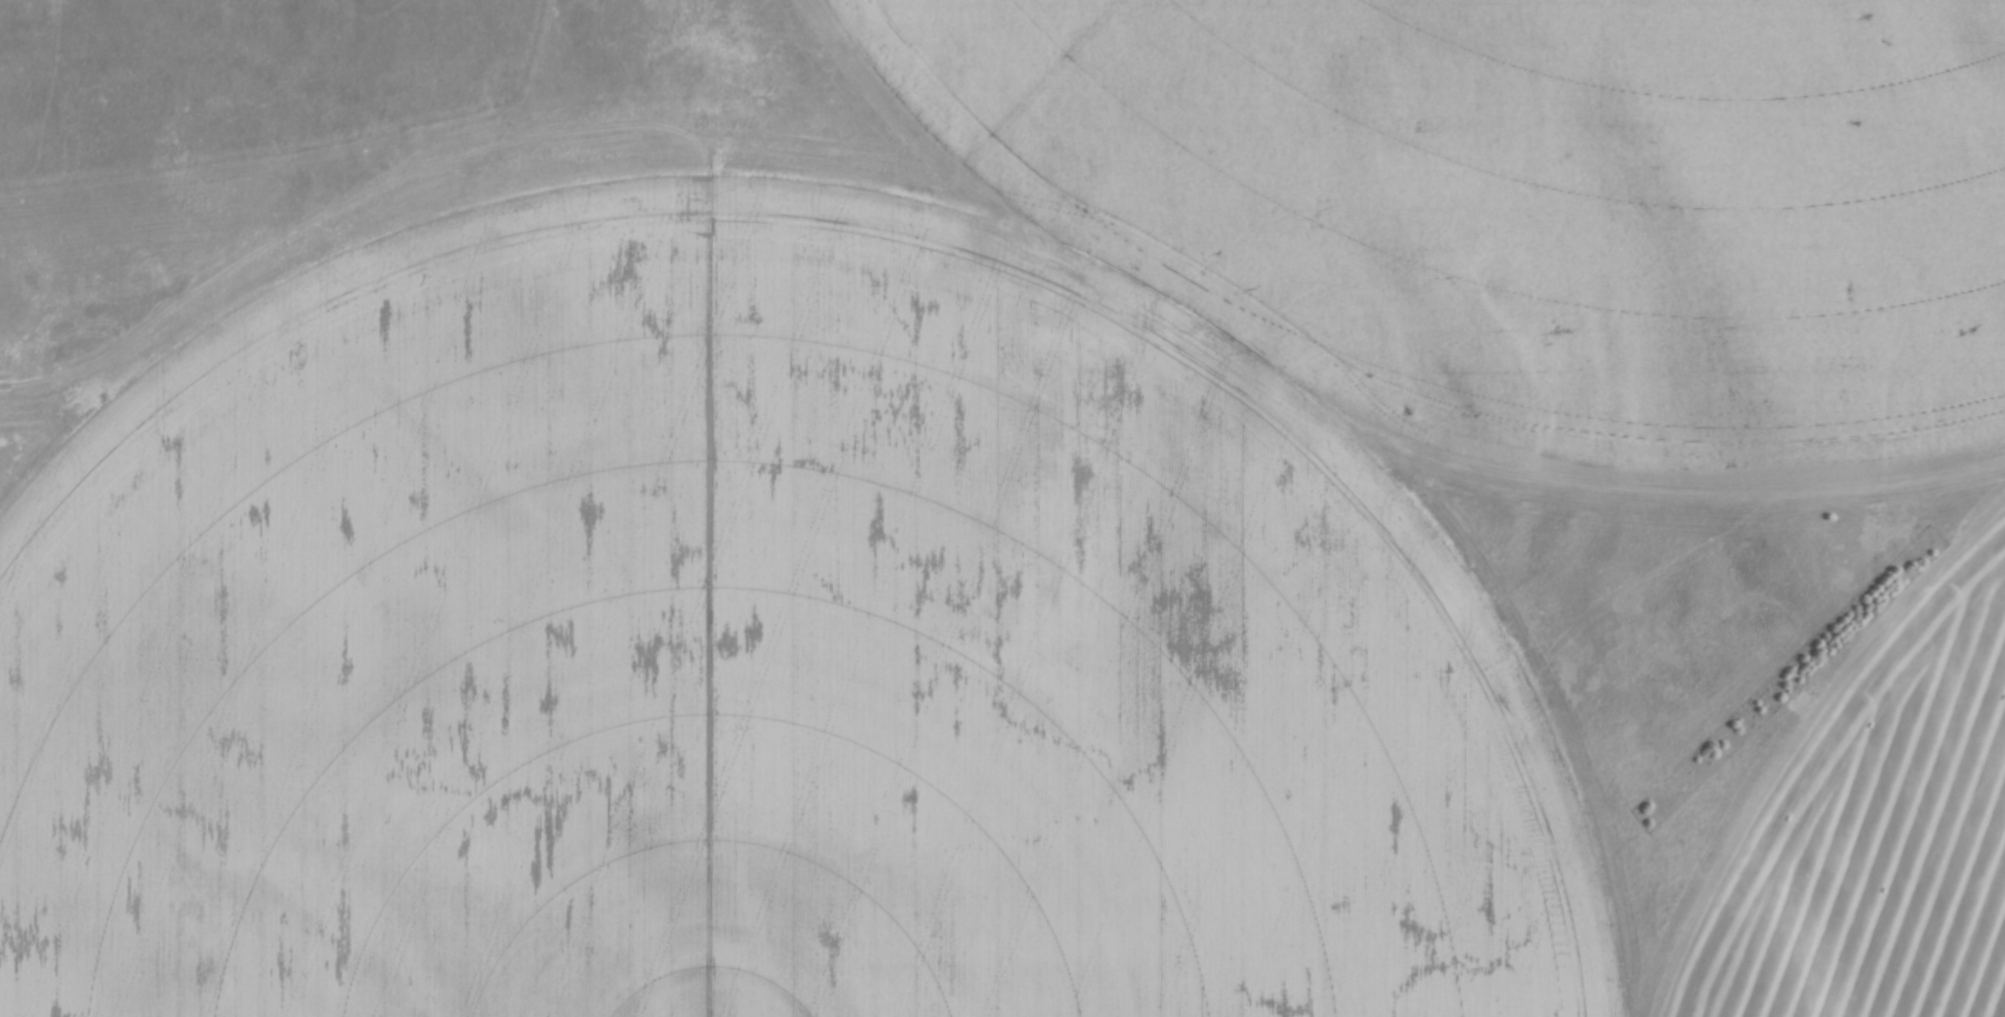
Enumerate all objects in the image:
crop: (974, 526)
crop: (1885, 845)

